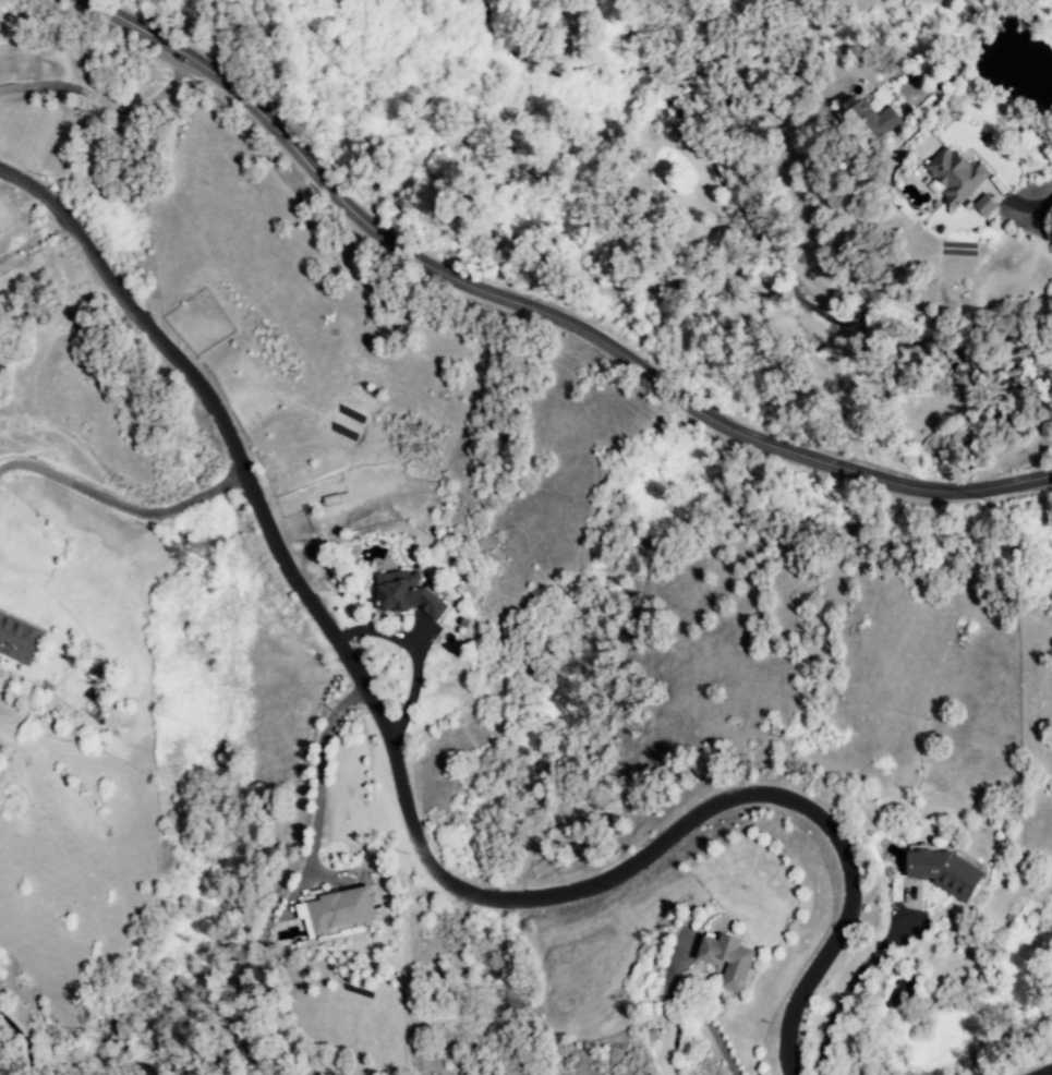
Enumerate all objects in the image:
road: (130, 9)
road: (958, 50)
building: (866, 130)
road: (1047, 188)
building: (983, 205)
road: (33, 239)
road: (539, 313)
road: (121, 507)
building: (403, 594)
building: (17, 639)
road: (411, 655)
road: (323, 778)
road: (404, 817)
building: (944, 871)
building: (336, 910)
building: (726, 959)
road: (854, 990)
road: (690, 1007)
road: (1050, 1074)

